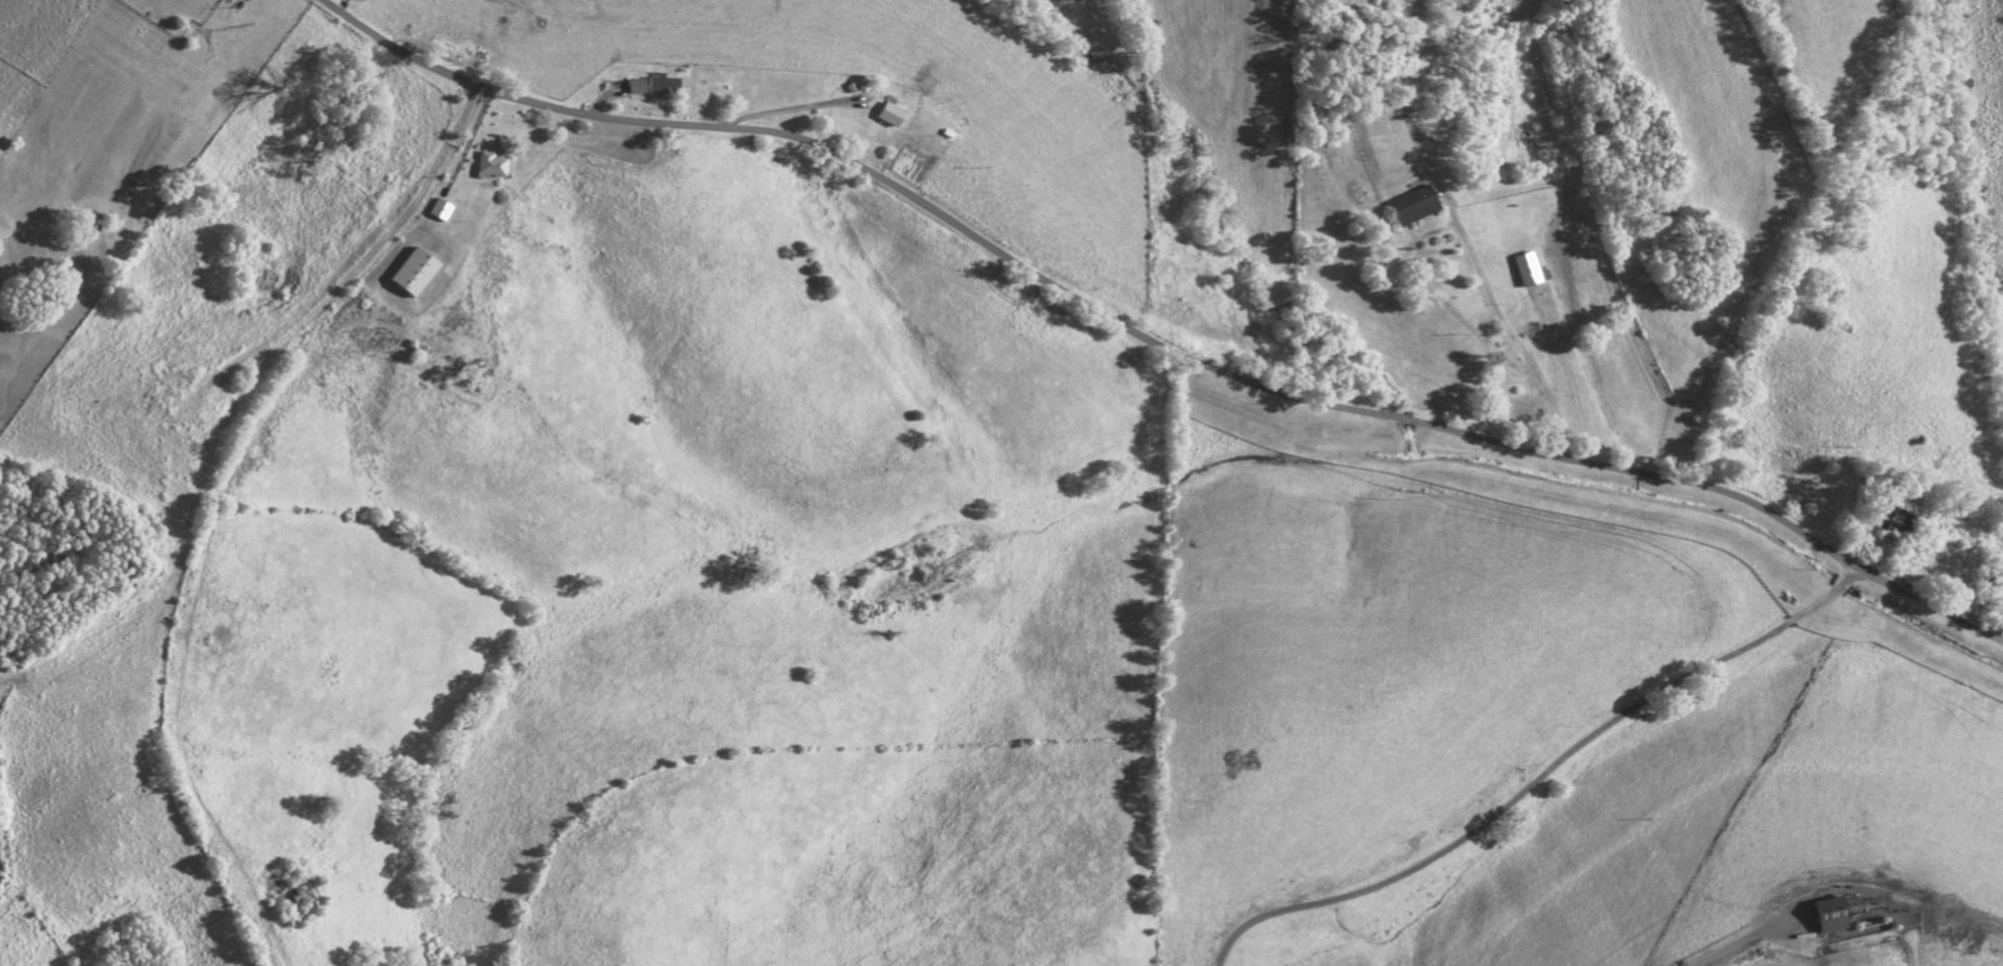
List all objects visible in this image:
building: (637, 85)
building: (664, 85)
building: (891, 113)
building: (494, 164)
building: (1416, 205)
building: (1530, 268)
building: (417, 271)
road: (1148, 343)
road: (249, 506)

